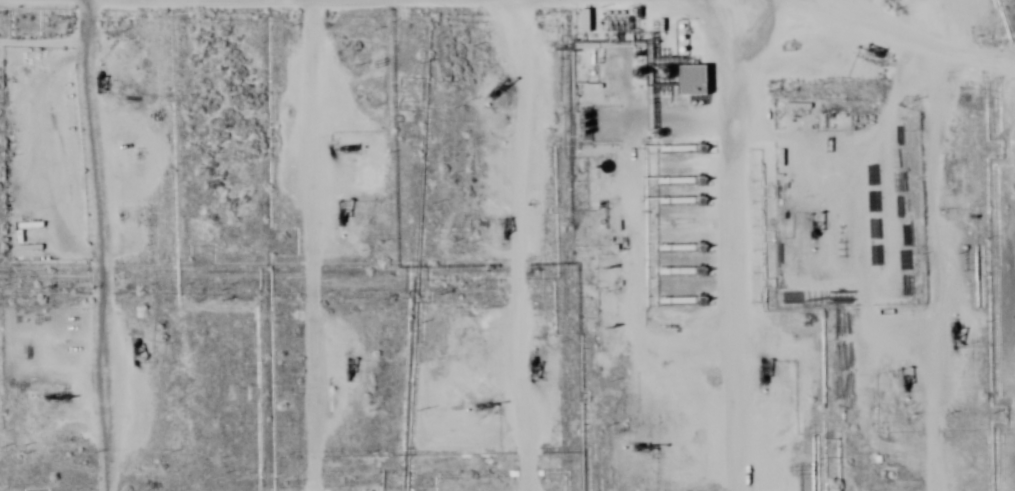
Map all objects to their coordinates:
road: (458, 22)
building: (692, 82)
road: (961, 118)
building: (899, 192)
road: (898, 243)
road: (83, 245)
road: (307, 245)
road: (504, 245)
road: (737, 245)

